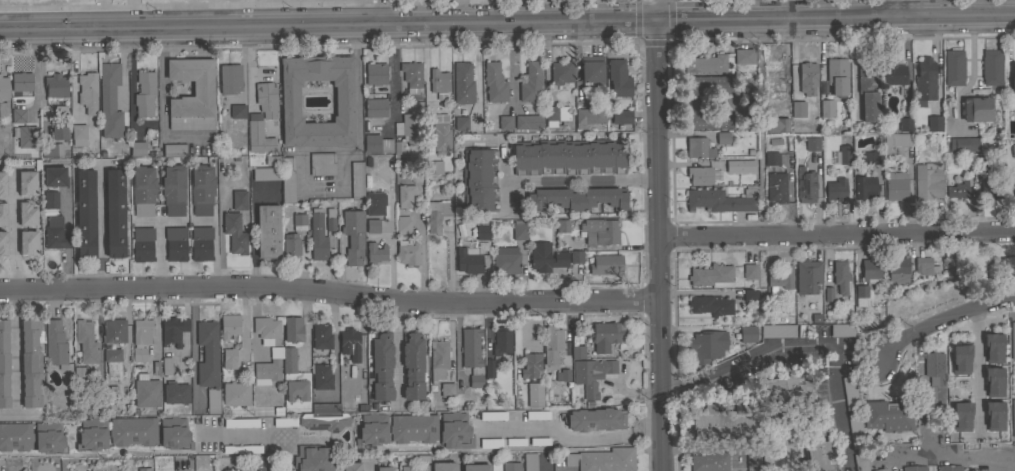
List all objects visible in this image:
road: (903, 8)
road: (787, 9)
road: (380, 12)
road: (719, 19)
road: (368, 24)
road: (386, 24)
road: (408, 24)
road: (214, 27)
road: (53, 29)
road: (17, 30)
building: (743, 56)
building: (705, 63)
road: (854, 65)
road: (426, 67)
building: (954, 67)
building: (991, 67)
road: (73, 69)
building: (591, 70)
building: (376, 73)
building: (560, 73)
building: (893, 73)
road: (478, 74)
road: (34, 76)
road: (393, 76)
building: (411, 76)
building: (772, 76)
building: (837, 76)
building: (230, 78)
building: (618, 78)
building: (807, 78)
building: (925, 80)
building: (22, 82)
building: (494, 82)
building: (531, 82)
road: (129, 83)
building: (438, 83)
building: (462, 83)
building: (1013, 83)
building: (708, 84)
building: (56, 85)
building: (3, 87)
building: (203, 88)
building: (868, 91)
building: (87, 92)
building: (746, 92)
building: (144, 94)
road: (162, 99)
building: (266, 99)
building: (109, 100)
road: (695, 100)
building: (289, 101)
building: (375, 108)
building: (826, 108)
building: (3, 109)
road: (357, 109)
building: (798, 109)
building: (976, 109)
building: (747, 110)
building: (237, 111)
building: (18, 113)
building: (556, 114)
building: (590, 115)
building: (621, 116)
building: (405, 118)
building: (708, 119)
building: (528, 121)
building: (505, 122)
building: (461, 123)
building: (934, 123)
building: (905, 124)
building: (773, 126)
building: (874, 128)
building: (59, 130)
building: (78, 131)
building: (406, 134)
building: (25, 135)
building: (258, 135)
building: (441, 137)
building: (722, 137)
building: (896, 140)
building: (812, 143)
building: (377, 144)
building: (963, 144)
building: (698, 147)
building: (137, 149)
building: (52, 150)
building: (174, 150)
building: (1013, 150)
building: (845, 154)
building: (569, 156)
building: (772, 157)
building: (871, 157)
building: (272, 160)
building: (321, 163)
building: (980, 164)
building: (732, 166)
building: (434, 167)
building: (266, 173)
building: (700, 175)
building: (54, 176)
building: (357, 179)
road: (581, 179)
building: (287, 180)
building: (479, 180)
building: (928, 180)
building: (2, 183)
building: (27, 183)
building: (805, 185)
building: (896, 185)
building: (955, 186)
building: (1014, 186)
building: (776, 187)
building: (865, 187)
building: (202, 189)
building: (836, 189)
building: (991, 189)
building: (173, 190)
building: (143, 191)
building: (406, 195)
building: (577, 198)
building: (51, 199)
building: (238, 199)
building: (720, 199)
building: (375, 203)
building: (27, 212)
building: (2, 213)
building: (85, 213)
building: (115, 213)
building: (436, 215)
building: (329, 219)
building: (299, 222)
building: (402, 224)
building: (372, 226)
building: (562, 226)
building: (519, 230)
building: (267, 231)
building: (600, 231)
road: (99, 232)
building: (482, 232)
building: (55, 233)
building: (235, 233)
road: (837, 233)
building: (353, 235)
road: (11, 236)
building: (317, 237)
building: (2, 243)
building: (28, 243)
building: (143, 243)
building: (176, 243)
building: (201, 243)
building: (291, 245)
road: (659, 245)
road: (159, 247)
road: (391, 250)
building: (375, 253)
building: (408, 253)
building: (576, 256)
building: (545, 257)
building: (506, 259)
building: (469, 261)
building: (605, 264)
building: (922, 265)
building: (870, 270)
building: (898, 270)
building: (749, 271)
building: (711, 276)
building: (808, 276)
building: (840, 276)
building: (779, 279)
park: (963, 287)
building: (749, 295)
building: (825, 295)
building: (861, 295)
road: (330, 299)
building: (710, 305)
road: (941, 318)
building: (229, 325)
building: (266, 327)
building: (293, 329)
building: (841, 329)
building: (174, 330)
building: (777, 330)
building: (114, 331)
building: (747, 333)
building: (606, 335)
building: (321, 336)
building: (141, 337)
building: (501, 340)
building: (1012, 340)
building: (85, 341)
building: (55, 344)
building: (349, 344)
building: (552, 344)
road: (804, 344)
building: (707, 345)
building: (993, 347)
building: (577, 351)
building: (207, 353)
road: (15, 355)
building: (472, 355)
building: (229, 358)
building: (438, 359)
building: (960, 359)
building: (289, 360)
building: (112, 362)
building: (167, 362)
building: (4, 364)
building: (31, 364)
building: (412, 365)
building: (381, 366)
road: (976, 366)
building: (488, 368)
building: (266, 371)
building: (528, 371)
building: (80, 372)
building: (562, 375)
building: (321, 376)
building: (591, 376)
building: (934, 381)
building: (993, 381)
building: (783, 389)
building: (296, 390)
building: (447, 390)
building: (146, 391)
building: (176, 392)
building: (849, 392)
road: (918, 392)
building: (235, 394)
building: (530, 396)
building: (212, 401)
building: (324, 408)
building: (889, 414)
building: (493, 415)
building: (537, 415)
building: (994, 415)
building: (961, 416)
building: (1013, 418)
building: (594, 419)
building: (323, 421)
building: (240, 422)
building: (284, 422)
building: (723, 422)
building: (373, 428)
building: (413, 428)
building: (132, 431)
building: (455, 431)
building: (855, 431)
building: (174, 433)
building: (92, 434)
road: (244, 435)
road: (570, 435)
building: (15, 436)
building: (49, 437)
building: (491, 443)
building: (241, 448)
road: (284, 453)
road: (954, 456)
building: (818, 457)
building: (312, 458)
building: (420, 458)
building: (602, 460)
building: (753, 460)
building: (860, 461)
building: (529, 462)
building: (710, 462)
building: (258, 466)
building: (351, 466)
building: (443, 466)
building: (511, 466)
building: (475, 467)
building: (385, 468)
building: (414, 468)
building: (914, 468)
building: (948, 468)
building: (144, 469)
road: (371, 469)
road: (182, 470)
building: (881, 470)

